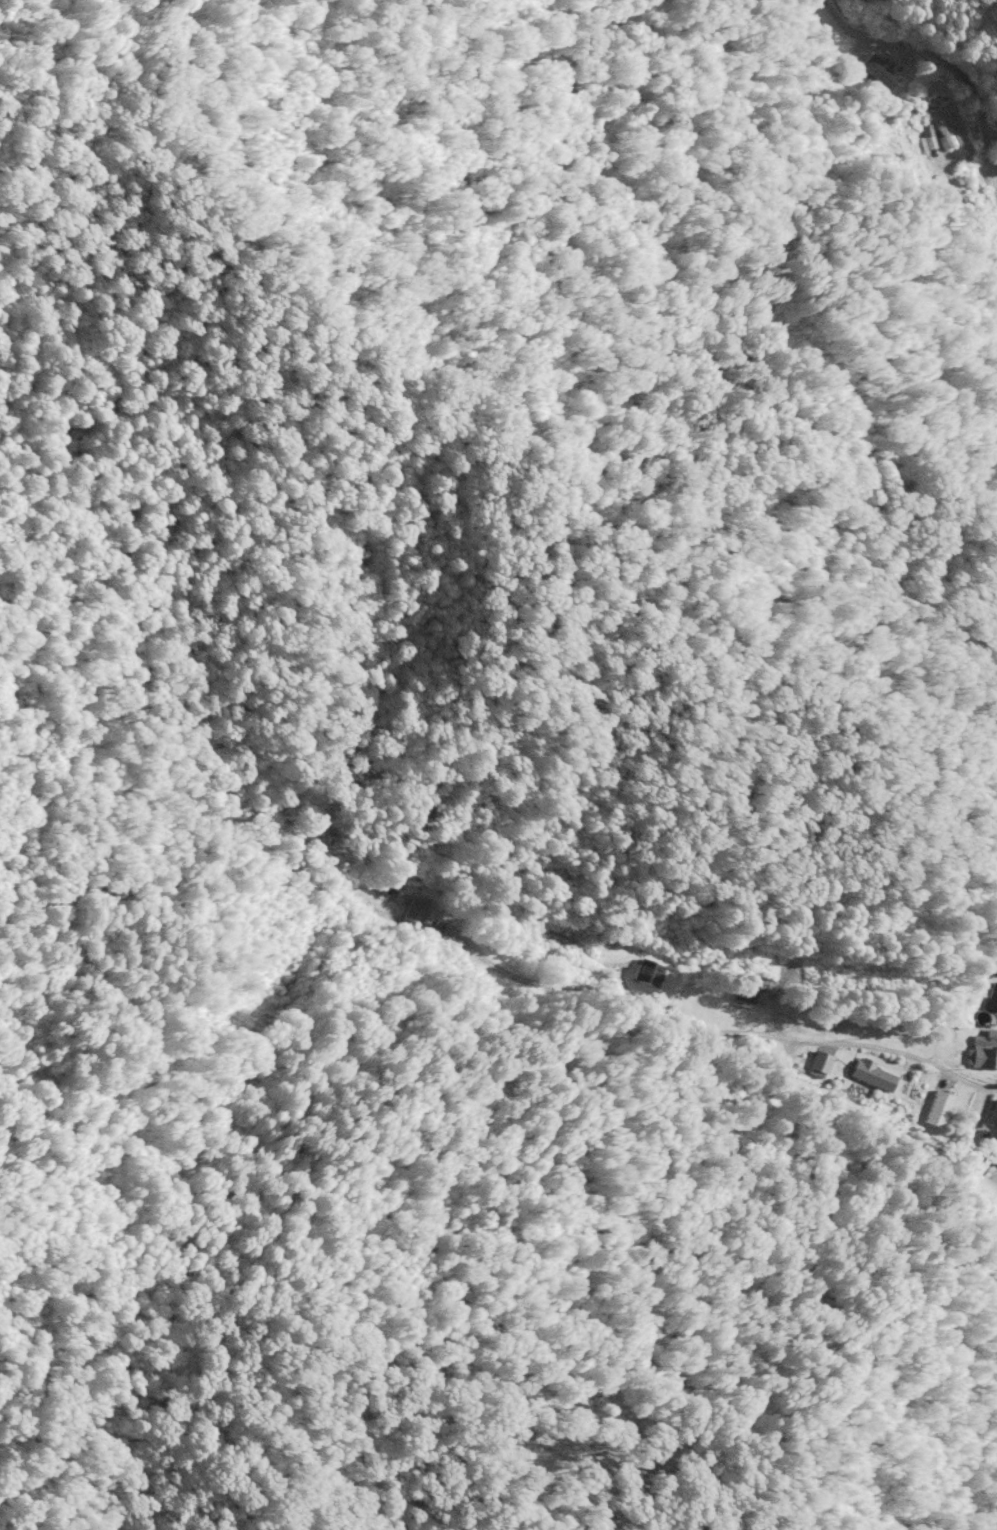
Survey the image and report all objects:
road: (952, 62)
road: (780, 1039)

